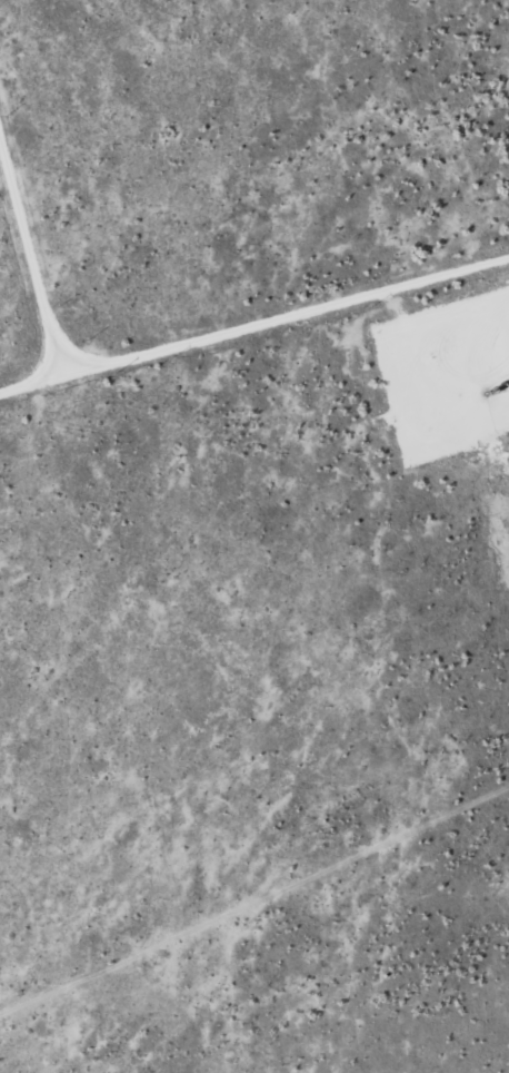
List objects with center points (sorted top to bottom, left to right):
road: (259, 908)

